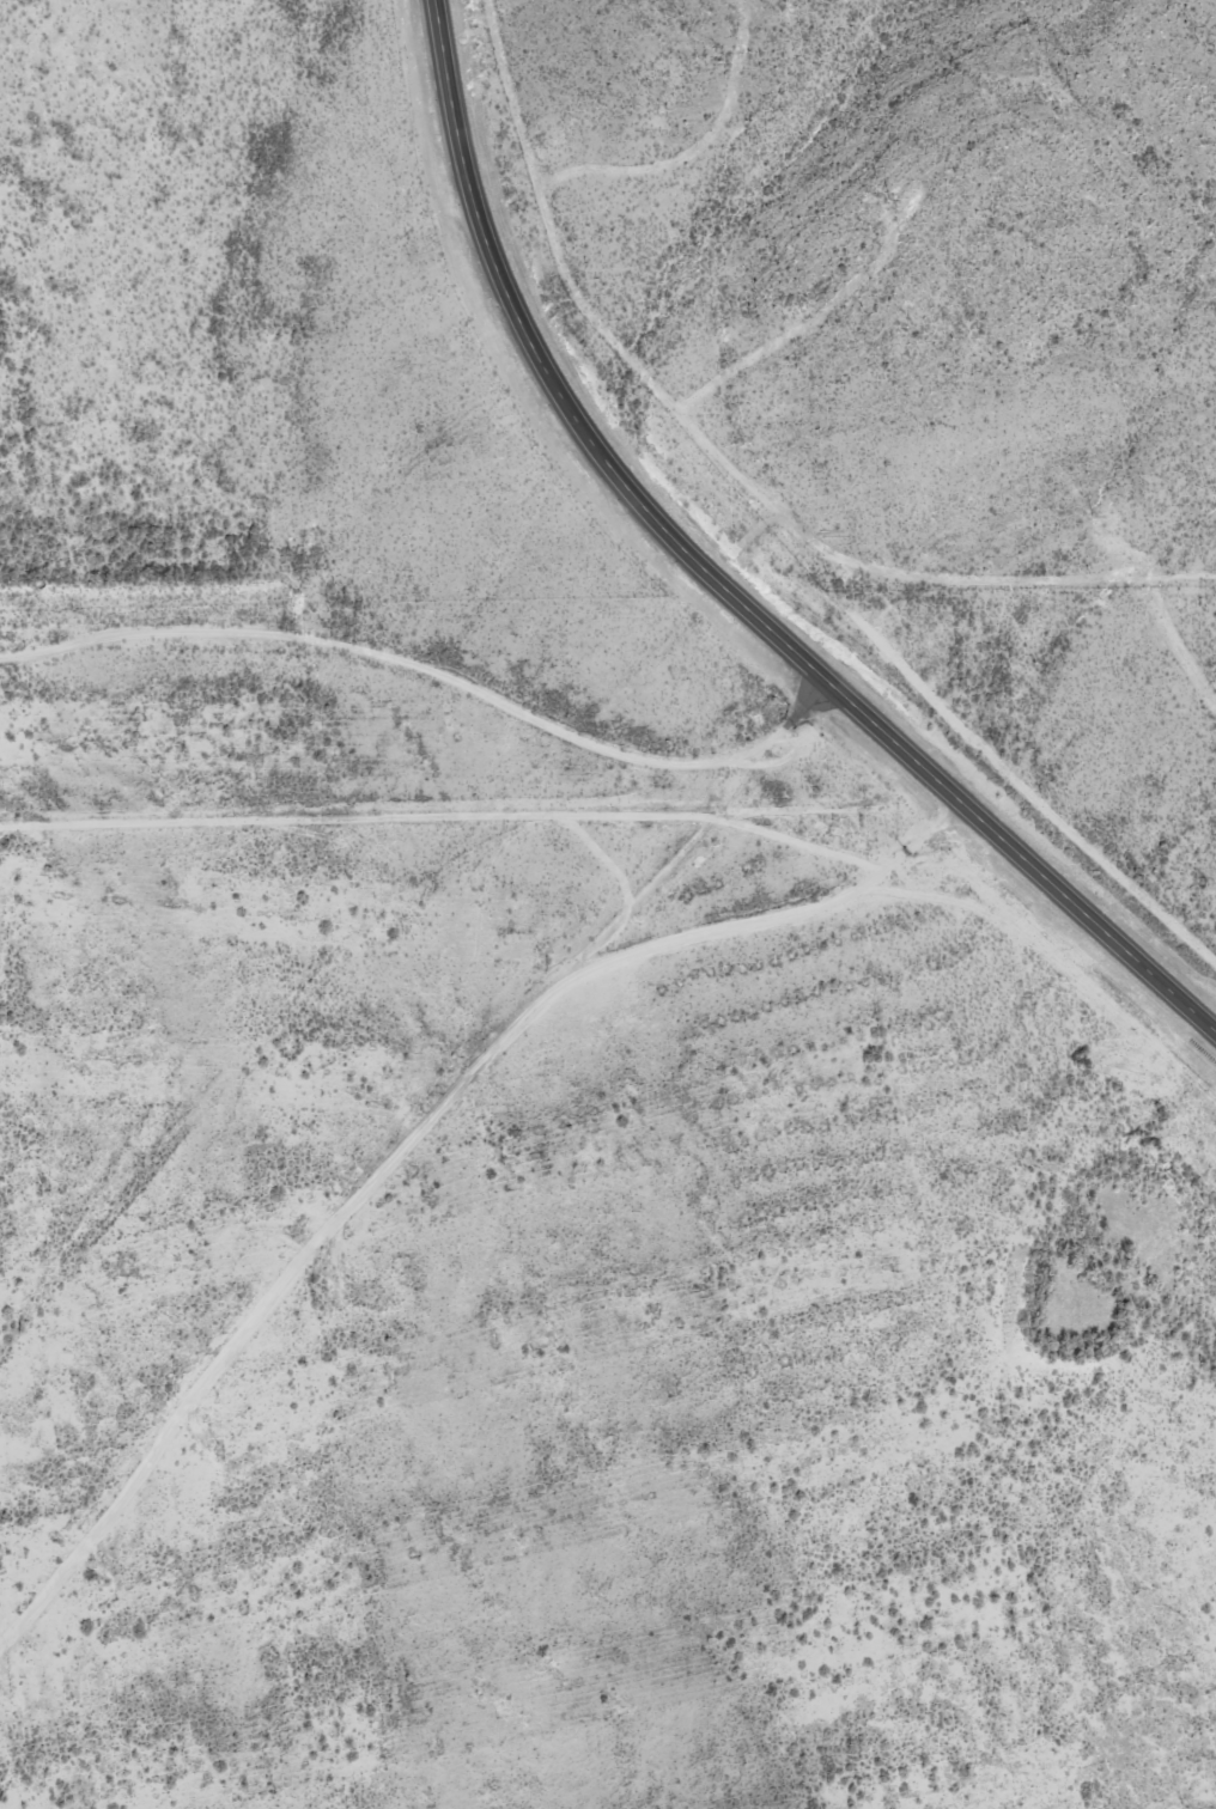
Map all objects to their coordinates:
road: (951, 565)
road: (721, 585)
road: (436, 674)
road: (419, 1172)

